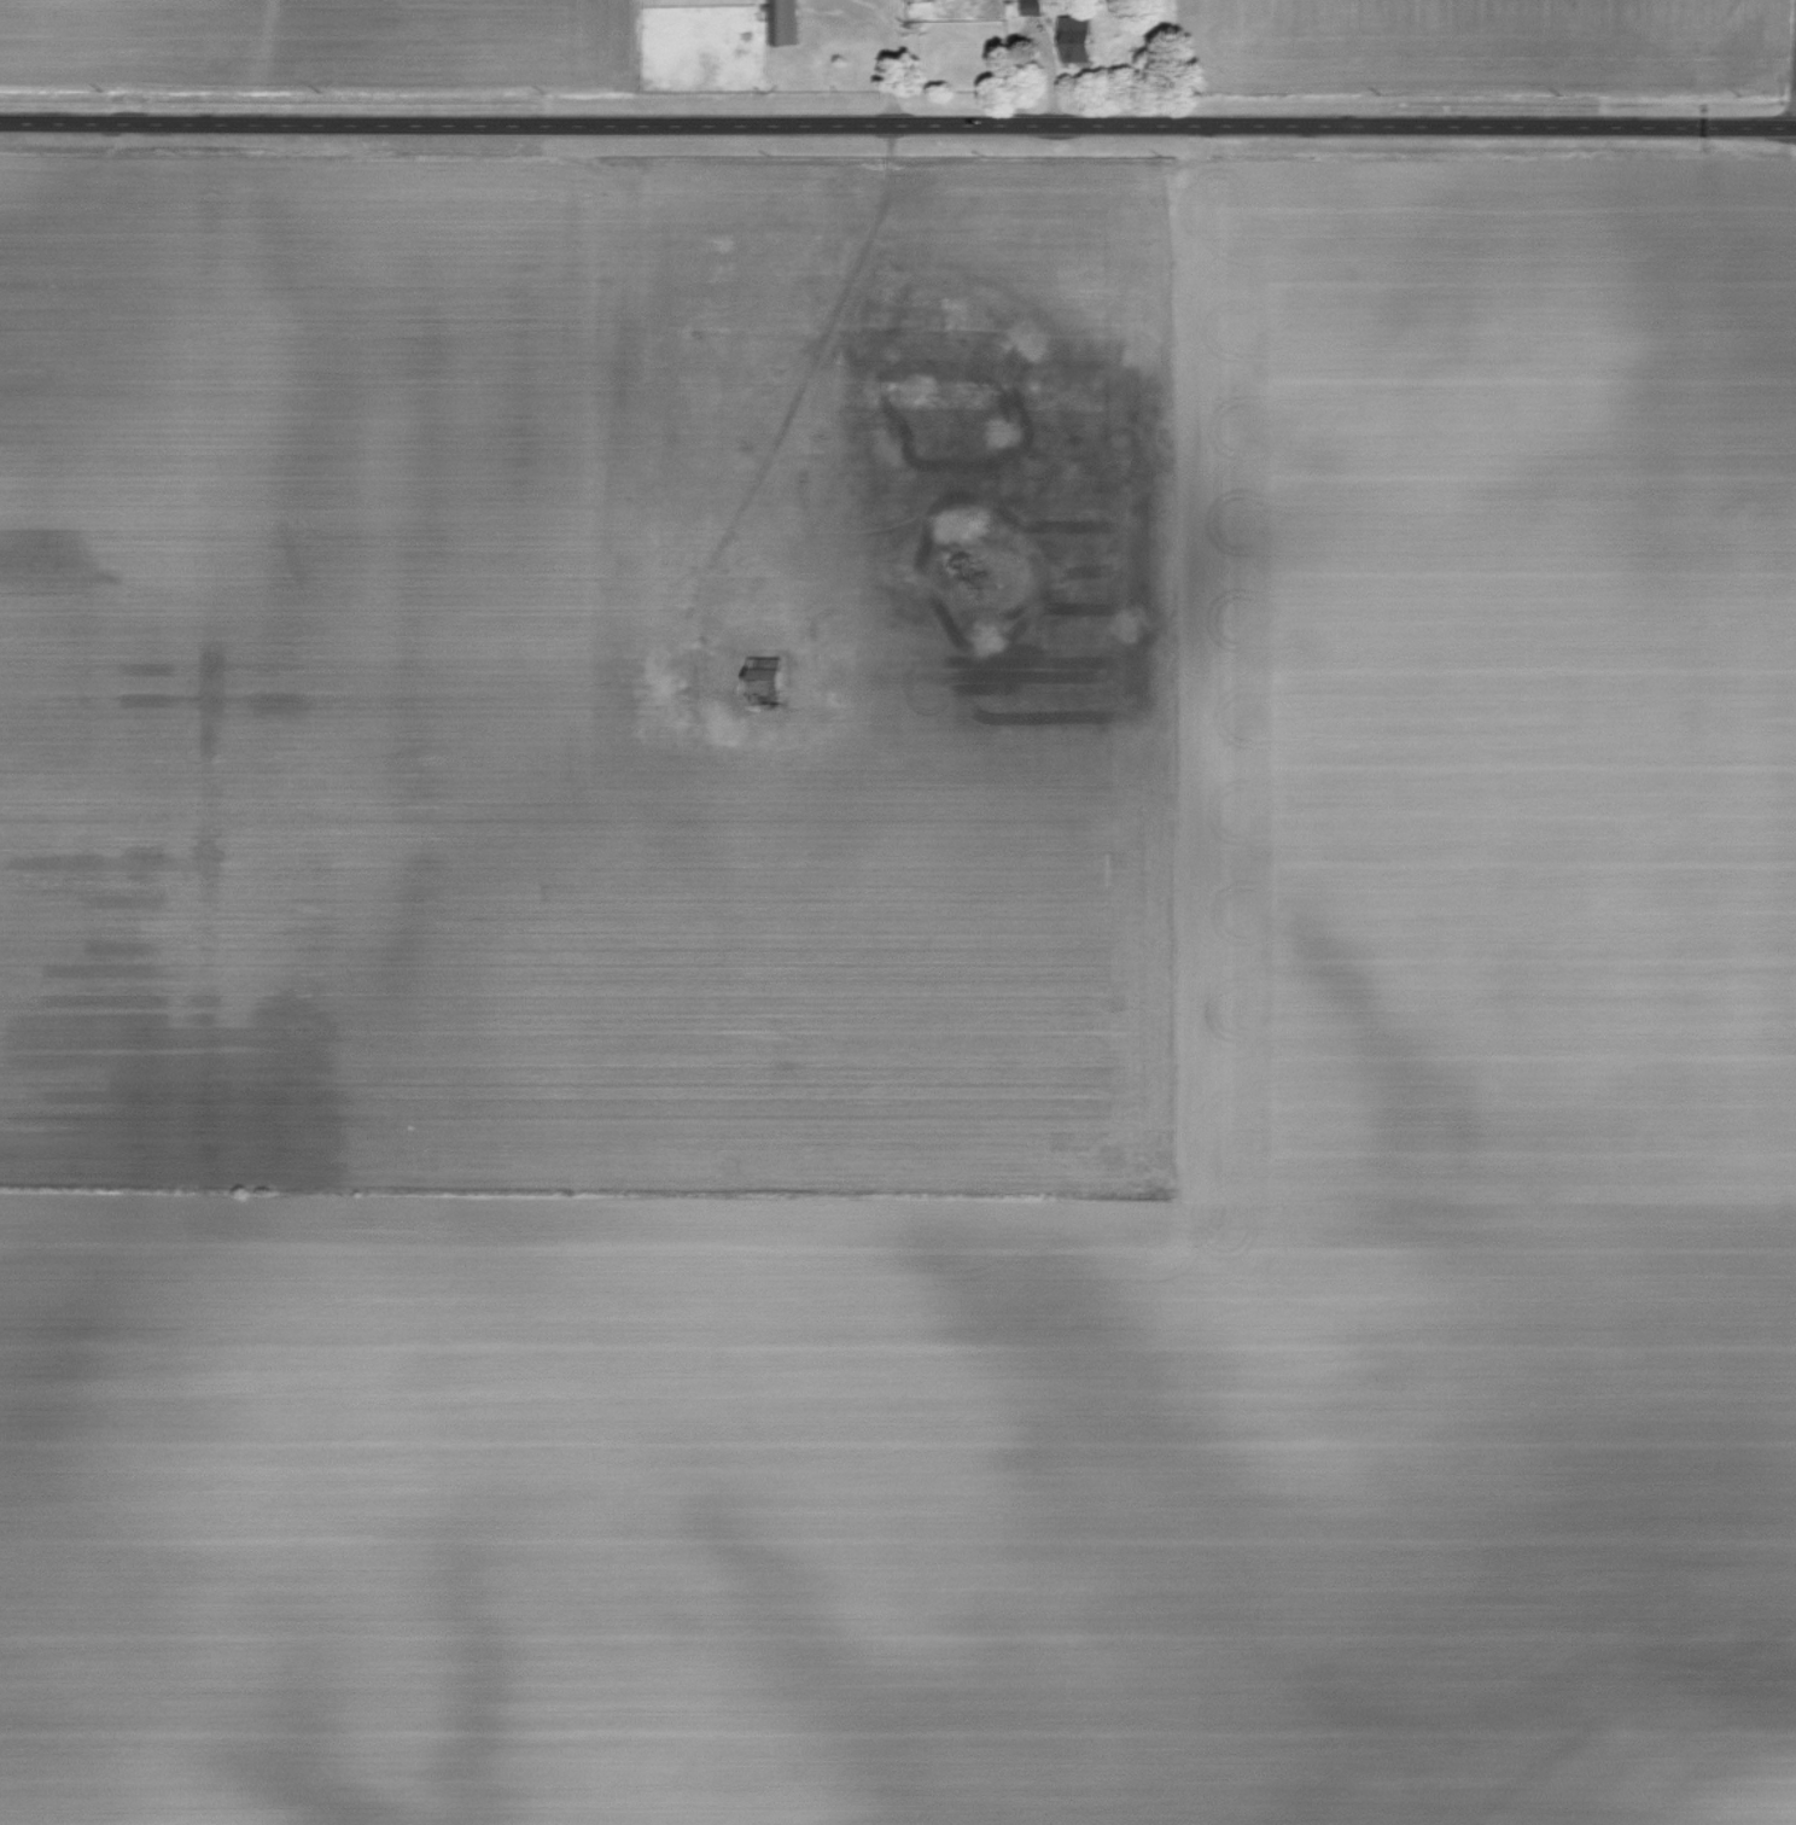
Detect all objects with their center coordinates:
road: (885, 39)
road: (1792, 76)
road: (897, 128)

